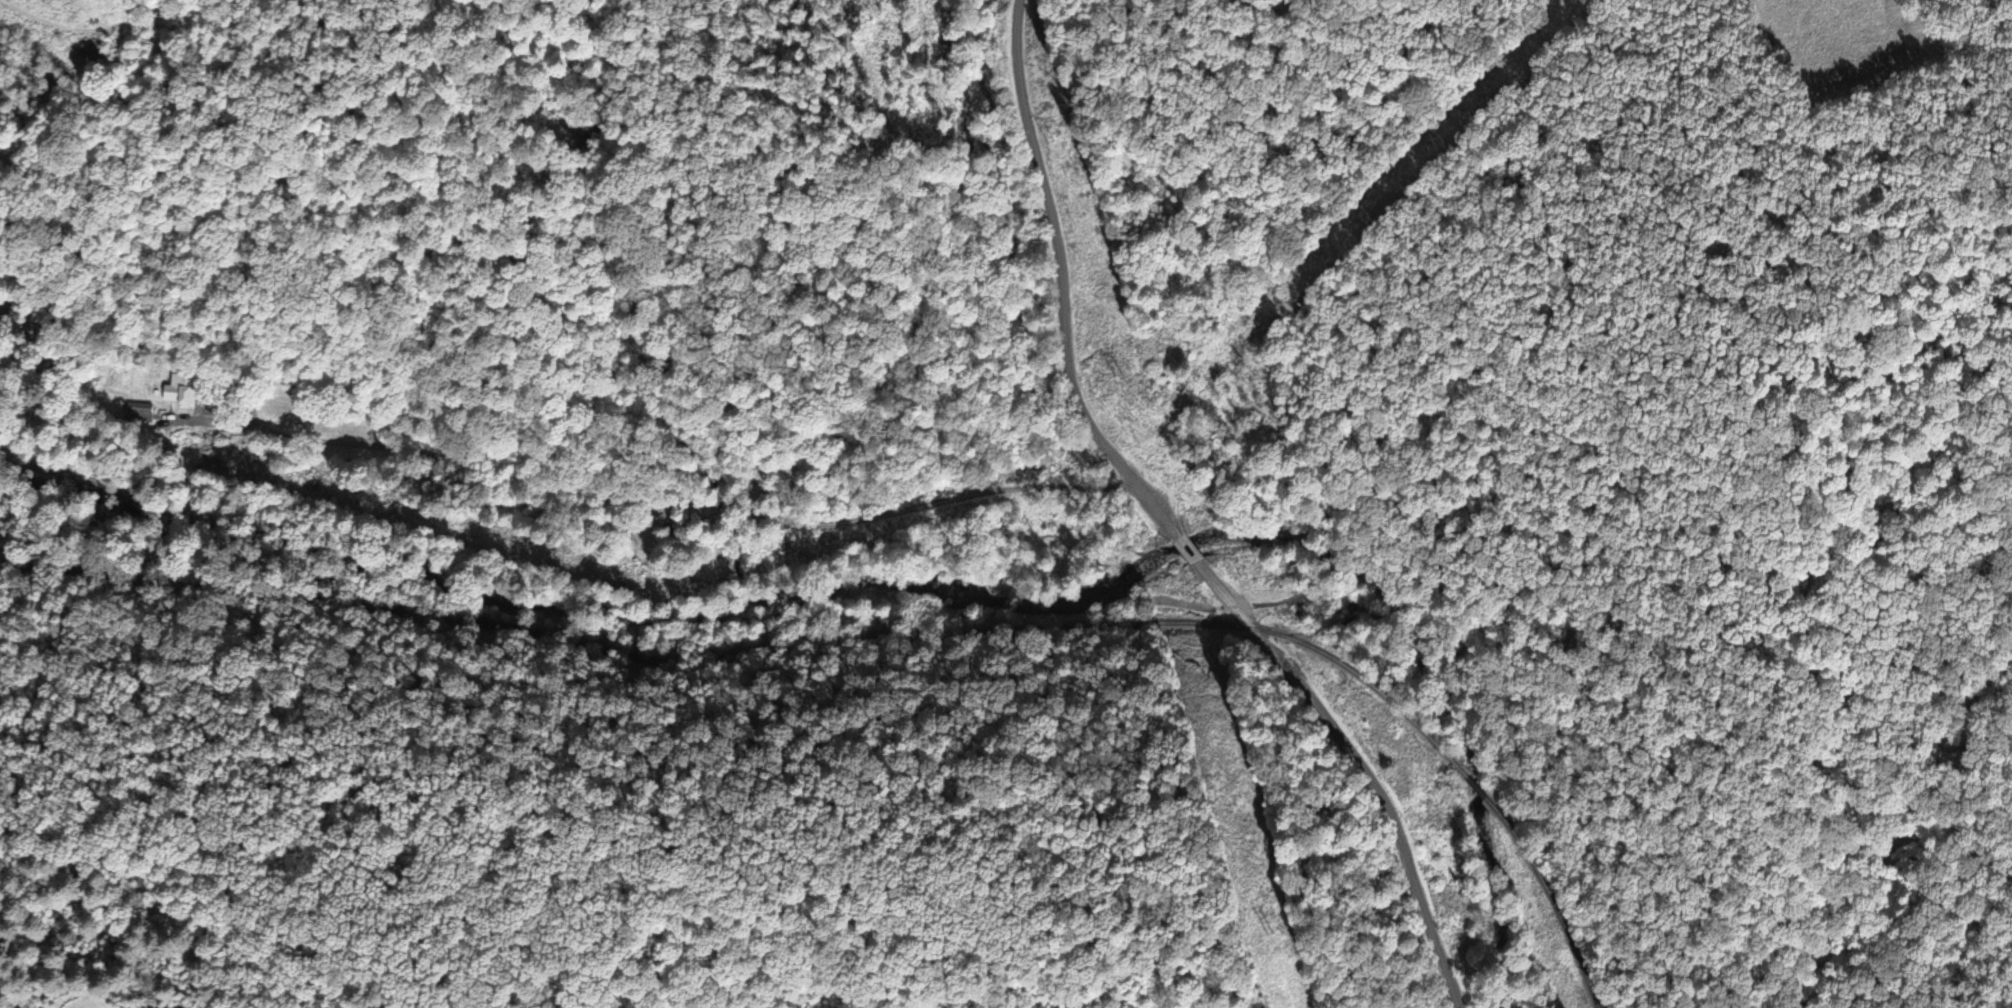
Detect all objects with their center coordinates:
road: (1059, 284)
building: (179, 396)
building: (138, 414)
road: (304, 433)
road: (1187, 549)
railway: (752, 655)
road: (1355, 767)
railway: (1470, 789)
building: (1449, 858)
railway: (1546, 898)

